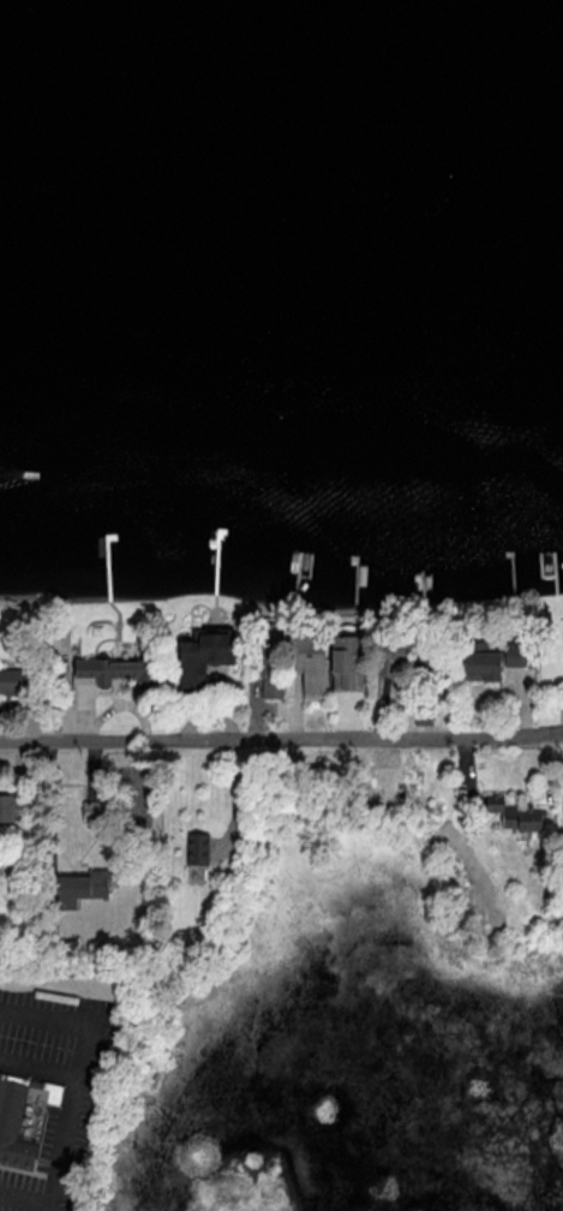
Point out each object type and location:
building: (550, 656)
building: (200, 657)
building: (270, 661)
building: (306, 661)
building: (346, 662)
building: (491, 662)
building: (429, 664)
building: (389, 667)
building: (114, 672)
building: (16, 682)
road: (281, 740)
building: (14, 807)
building: (562, 807)
building: (513, 816)
building: (196, 848)
building: (79, 887)
road: (77, 1073)
building: (20, 1122)
road: (24, 1194)

